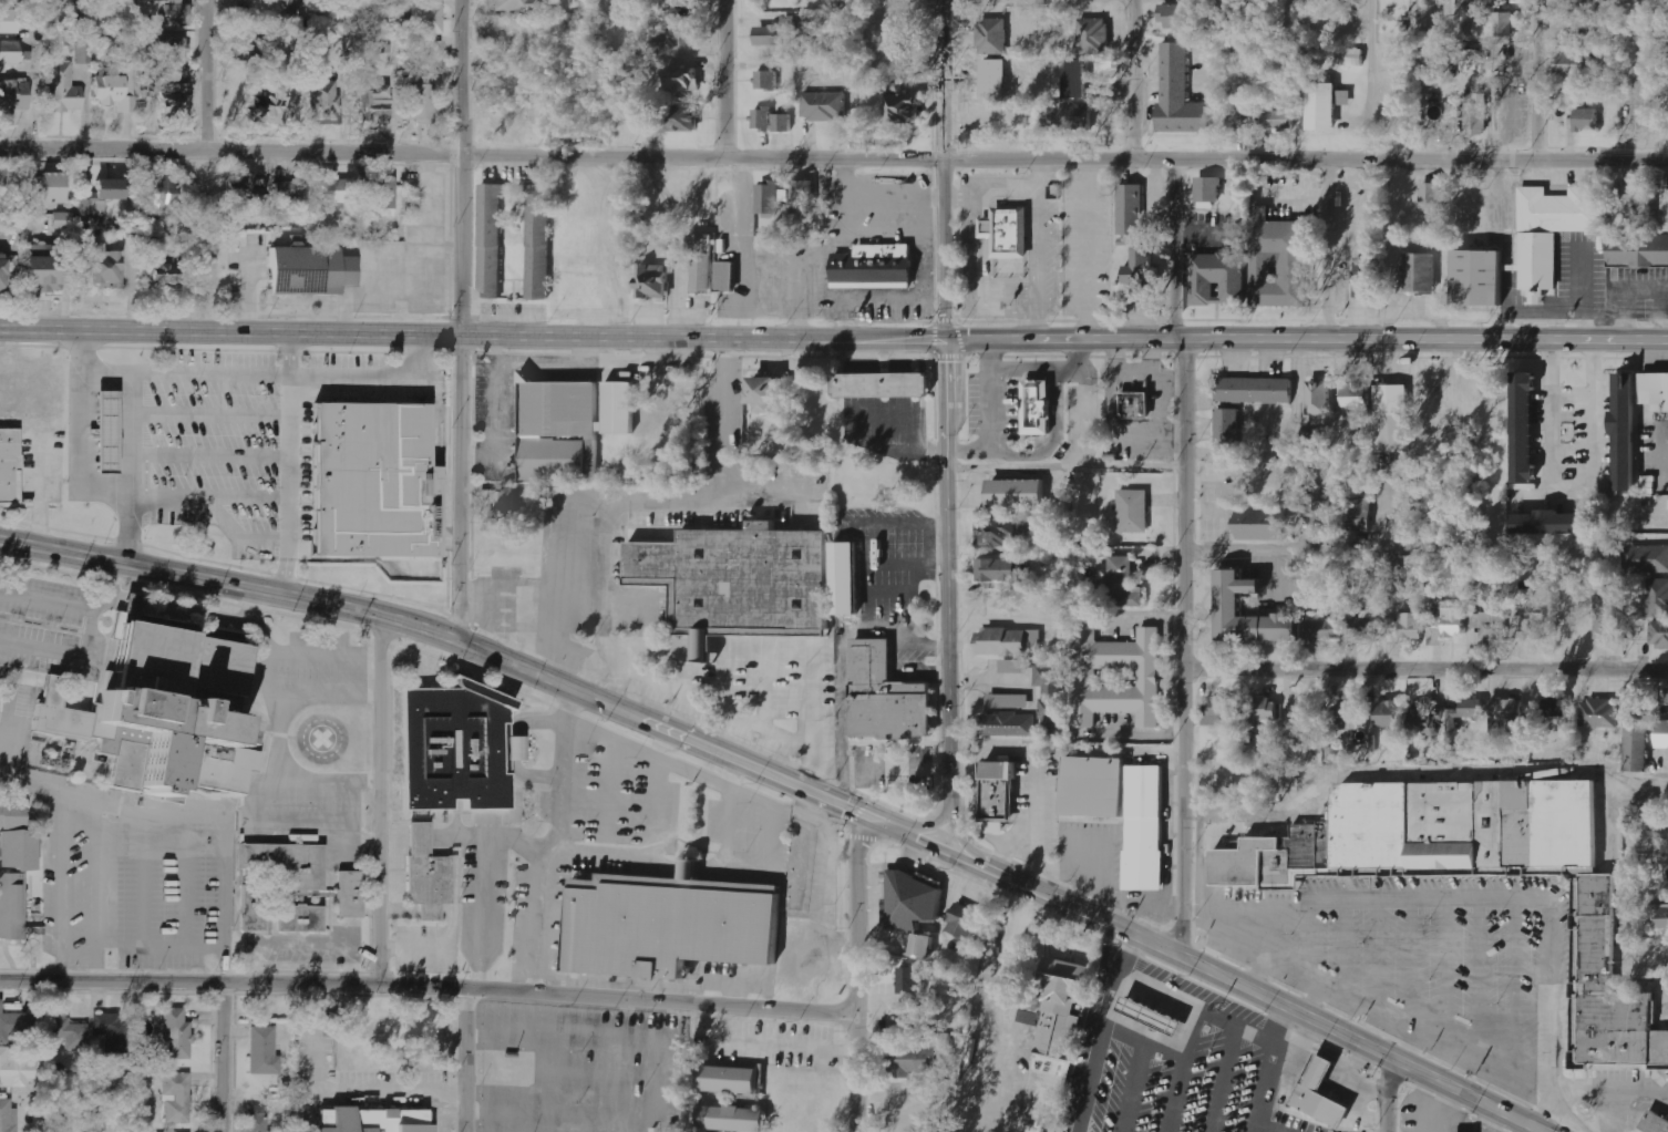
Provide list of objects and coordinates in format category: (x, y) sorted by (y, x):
building: (9, 1)
building: (679, 3)
building: (292, 4)
building: (515, 6)
building: (176, 14)
building: (1177, 16)
building: (426, 19)
building: (9, 22)
building: (779, 31)
building: (677, 34)
building: (1093, 34)
building: (992, 35)
building: (174, 48)
building: (246, 48)
building: (10, 53)
building: (82, 54)
building: (1350, 56)
building: (1472, 59)
building: (1573, 63)
building: (175, 73)
road: (203, 74)
road: (731, 76)
building: (682, 78)
road: (1129, 78)
road: (1371, 79)
building: (766, 80)
road: (1534, 80)
building: (63, 89)
building: (114, 93)
building: (1176, 94)
building: (12, 99)
building: (176, 102)
building: (325, 103)
building: (375, 103)
building: (423, 104)
building: (824, 105)
building: (1322, 106)
building: (268, 107)
building: (904, 107)
building: (1070, 115)
building: (1477, 115)
building: (682, 117)
building: (1262, 117)
building: (763, 119)
building: (1586, 119)
building: (783, 122)
road: (833, 153)
road: (461, 168)
road: (945, 171)
building: (2, 178)
building: (1238, 186)
building: (48, 187)
building: (246, 188)
building: (1208, 188)
building: (336, 192)
building: (290, 193)
building: (163, 195)
building: (384, 196)
building: (771, 196)
building: (804, 196)
building: (1432, 197)
building: (1630, 197)
building: (1132, 208)
building: (61, 220)
building: (1548, 233)
building: (1006, 240)
building: (488, 243)
building: (537, 243)
road: (1173, 249)
building: (1639, 253)
building: (702, 260)
building: (1280, 265)
building: (103, 267)
building: (1141, 267)
building: (873, 268)
building: (43, 269)
building: (312, 270)
building: (164, 271)
building: (1418, 274)
building: (2, 276)
building: (727, 276)
building: (1367, 278)
building: (1216, 279)
building: (1481, 279)
building: (652, 281)
road: (473, 338)
road: (1307, 339)
traffic signals: (947, 342)
building: (882, 385)
building: (1256, 390)
building: (1656, 391)
building: (766, 392)
building: (1320, 398)
building: (1358, 399)
building: (1135, 404)
building: (620, 407)
building: (1038, 407)
building: (1392, 418)
building: (1523, 426)
building: (1228, 428)
building: (103, 430)
gas station: (103, 430)
building: (560, 430)
building: (1627, 430)
road: (286, 465)
building: (10, 467)
building: (373, 480)
road: (461, 488)
building: (1018, 493)
building: (505, 502)
road: (640, 504)
building: (1320, 510)
building: (1133, 511)
building: (1356, 515)
building: (1552, 523)
building: (1038, 524)
building: (1264, 524)
building: (998, 531)
road: (1300, 550)
building: (1647, 557)
building: (998, 569)
building: (847, 578)
building: (739, 579)
building: (1124, 583)
building: (1657, 597)
road: (948, 598)
building: (1232, 604)
building: (1606, 614)
building: (1454, 621)
building: (1366, 622)
building: (1490, 624)
building: (1322, 626)
building: (1528, 626)
building: (1659, 634)
building: (1435, 636)
building: (1010, 641)
road: (1184, 650)
road: (488, 651)
building: (1015, 666)
road: (1425, 672)
building: (1146, 677)
building: (885, 696)
building: (1667, 696)
building: (1053, 697)
building: (1009, 701)
building: (168, 708)
building: (1264, 709)
building: (1301, 710)
building: (1221, 711)
building: (1465, 711)
building: (1556, 711)
building: (1599, 712)
building: (1388, 713)
building: (1507, 714)
building: (1350, 716)
building: (1425, 721)
building: (1008, 724)
building: (1662, 734)
helipad: (321, 738)
building: (1637, 747)
building: (459, 749)
road: (649, 757)
building: (1094, 789)
building: (998, 794)
road: (382, 800)
traffic signals: (855, 815)
building: (1144, 827)
building: (1428, 833)
building: (17, 841)
road: (667, 844)
road: (565, 856)
building: (429, 875)
road: (492, 881)
building: (305, 887)
building: (351, 895)
road: (1527, 895)
building: (916, 903)
building: (11, 905)
building: (1662, 917)
building: (302, 919)
building: (966, 922)
building: (670, 925)
road: (1269, 935)
building: (924, 946)
road: (852, 974)
building: (909, 981)
road: (425, 987)
road: (1252, 992)
road: (1311, 1002)
building: (1064, 1008)
building: (1152, 1013)
gas station: (1152, 1013)
building: (908, 1017)
building: (1030, 1017)
building: (14, 1027)
road: (1402, 1027)
building: (112, 1031)
road: (1101, 1032)
building: (64, 1036)
building: (177, 1036)
road: (1407, 1047)
building: (264, 1051)
road: (227, 1059)
road: (467, 1060)
building: (914, 1061)
building: (14, 1069)
road: (1269, 1069)
building: (731, 1080)
building: (1322, 1094)
road: (1389, 1094)
building: (177, 1098)
road: (1543, 1110)
building: (8, 1116)
building: (734, 1119)
building: (380, 1121)
building: (1656, 1122)
building: (260, 1123)

